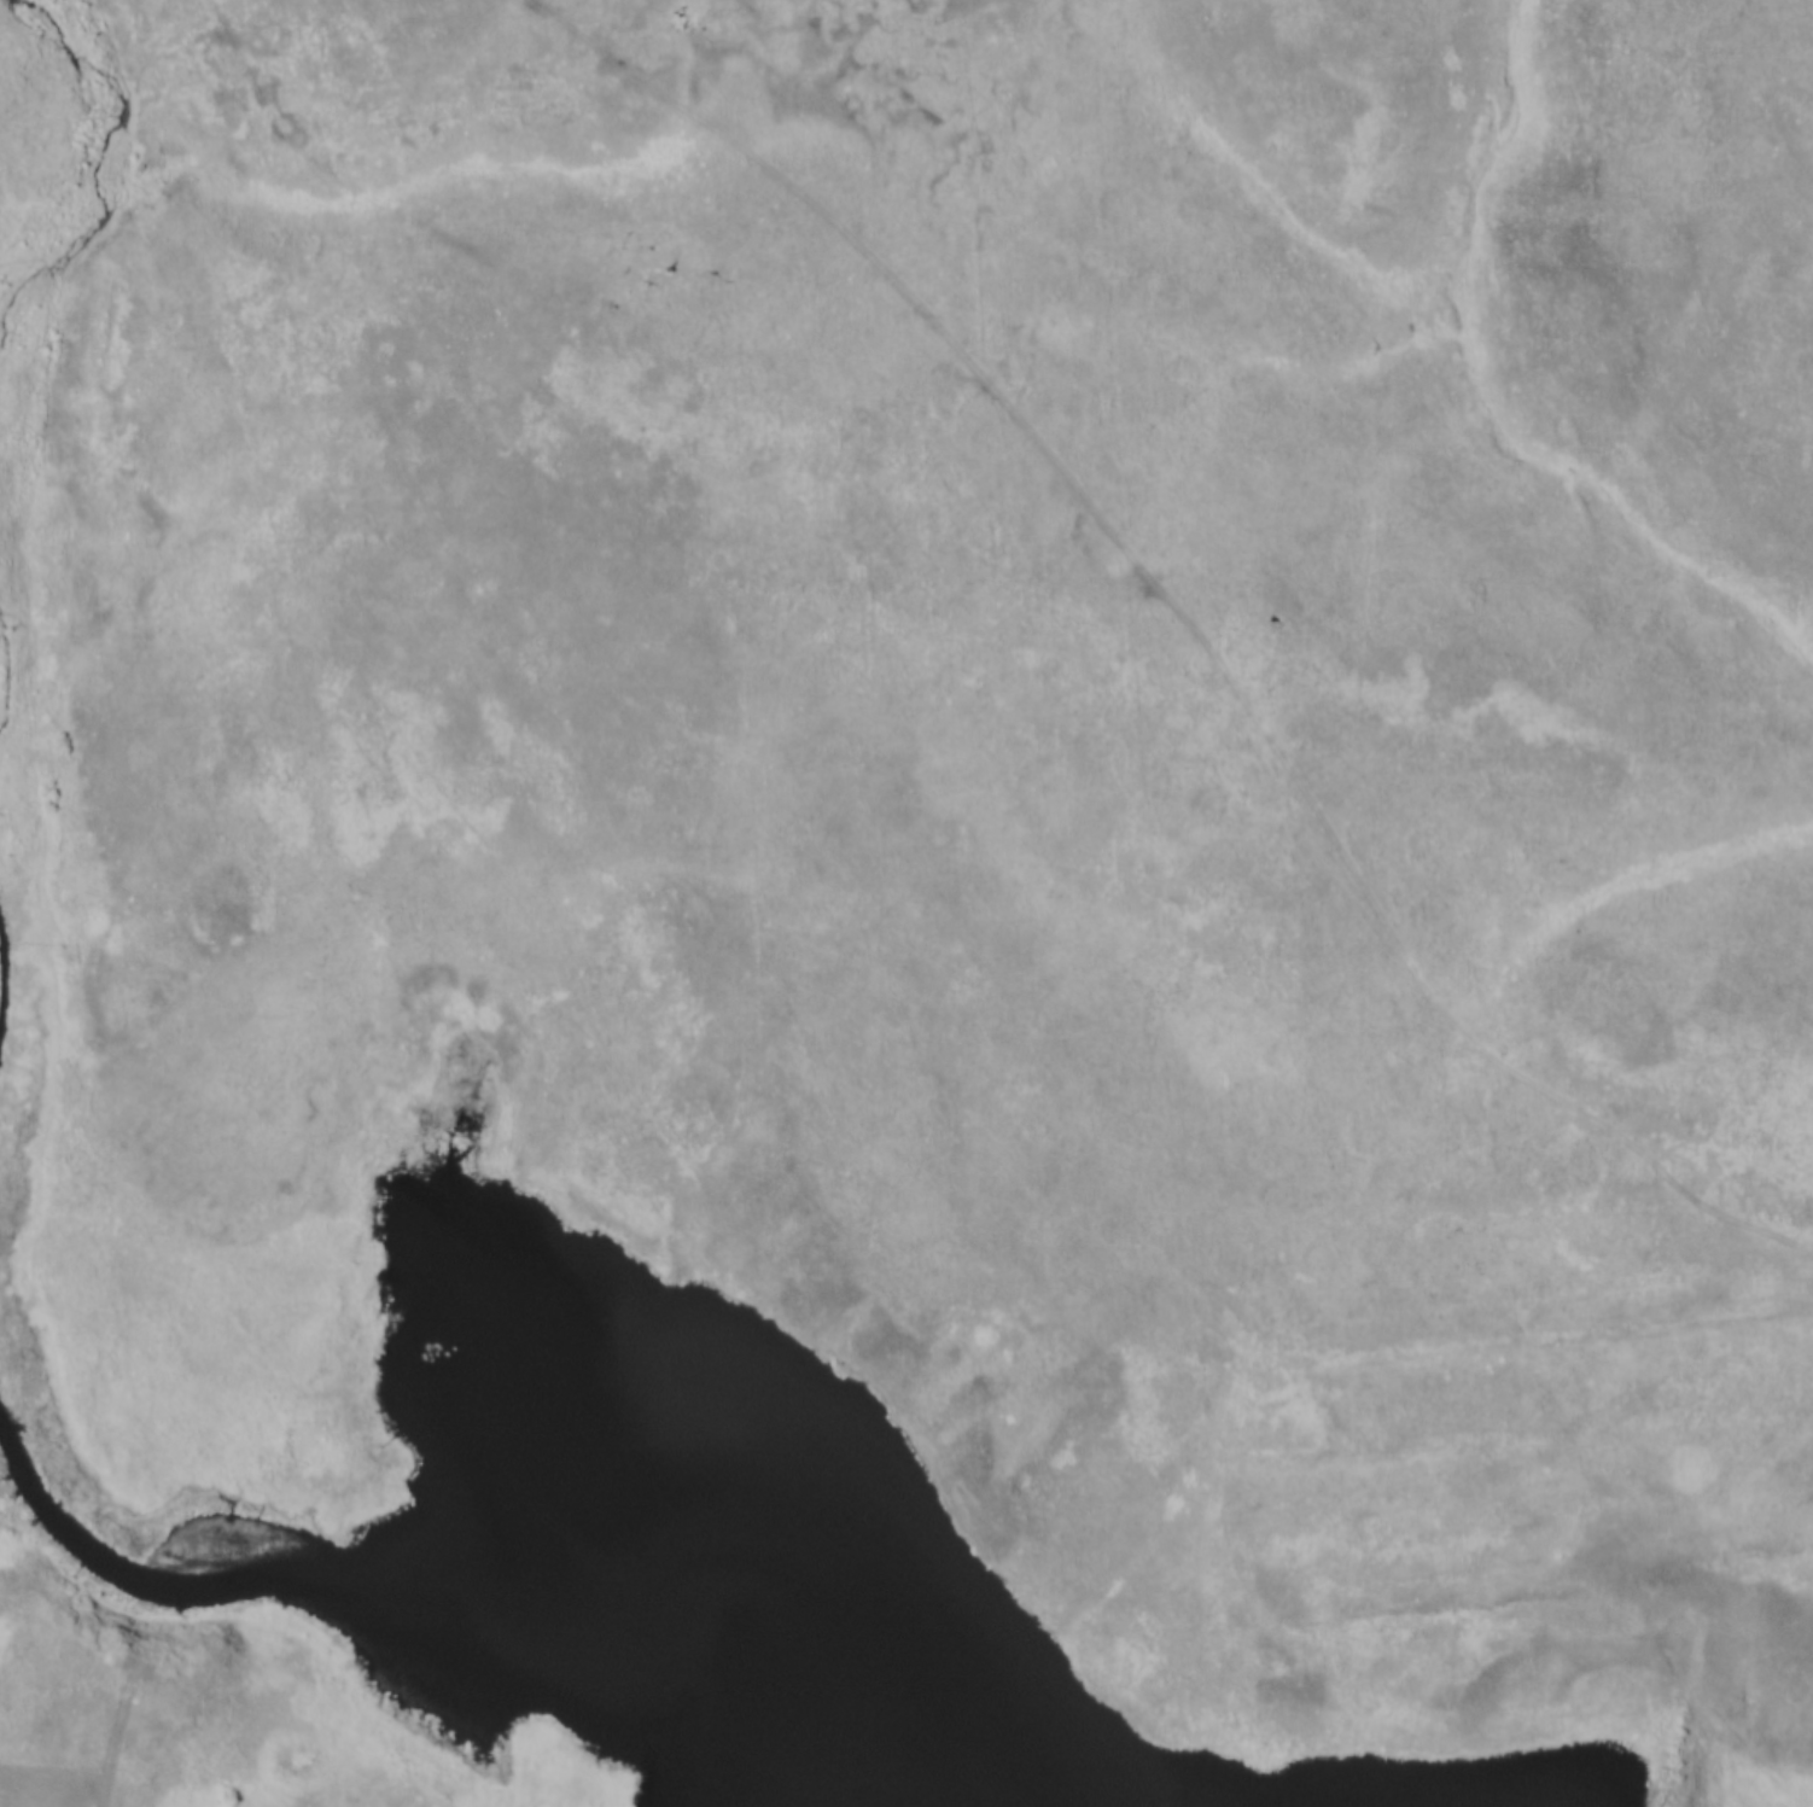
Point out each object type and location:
building: (682, 2)
road: (1181, 620)
road: (1386, 1357)
dam: (1678, 1741)

